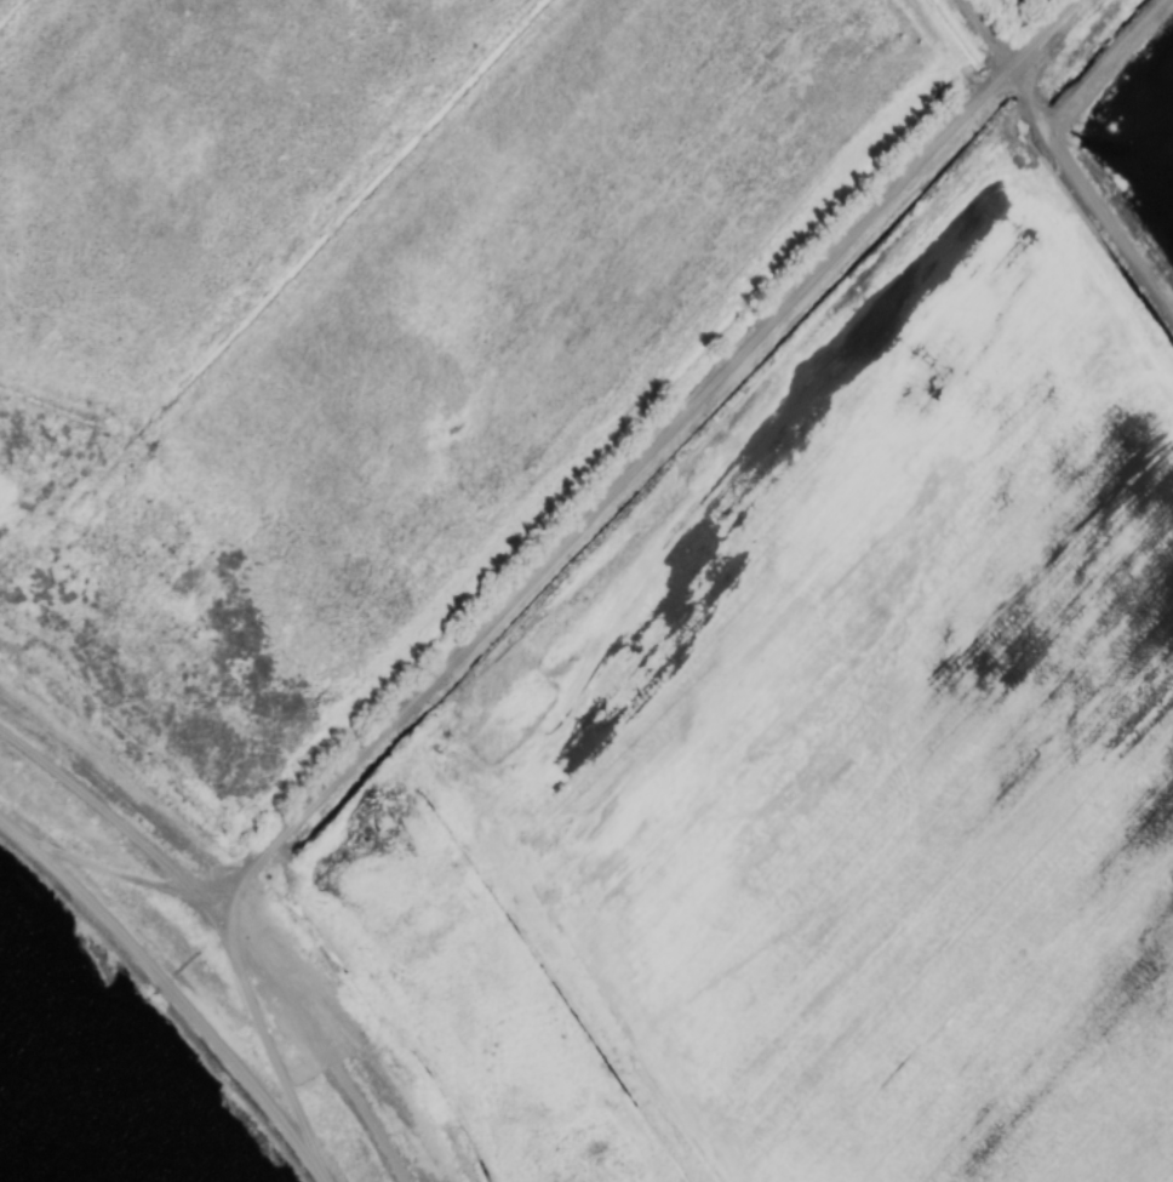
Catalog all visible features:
crop: (625, 552)
road: (178, 988)

